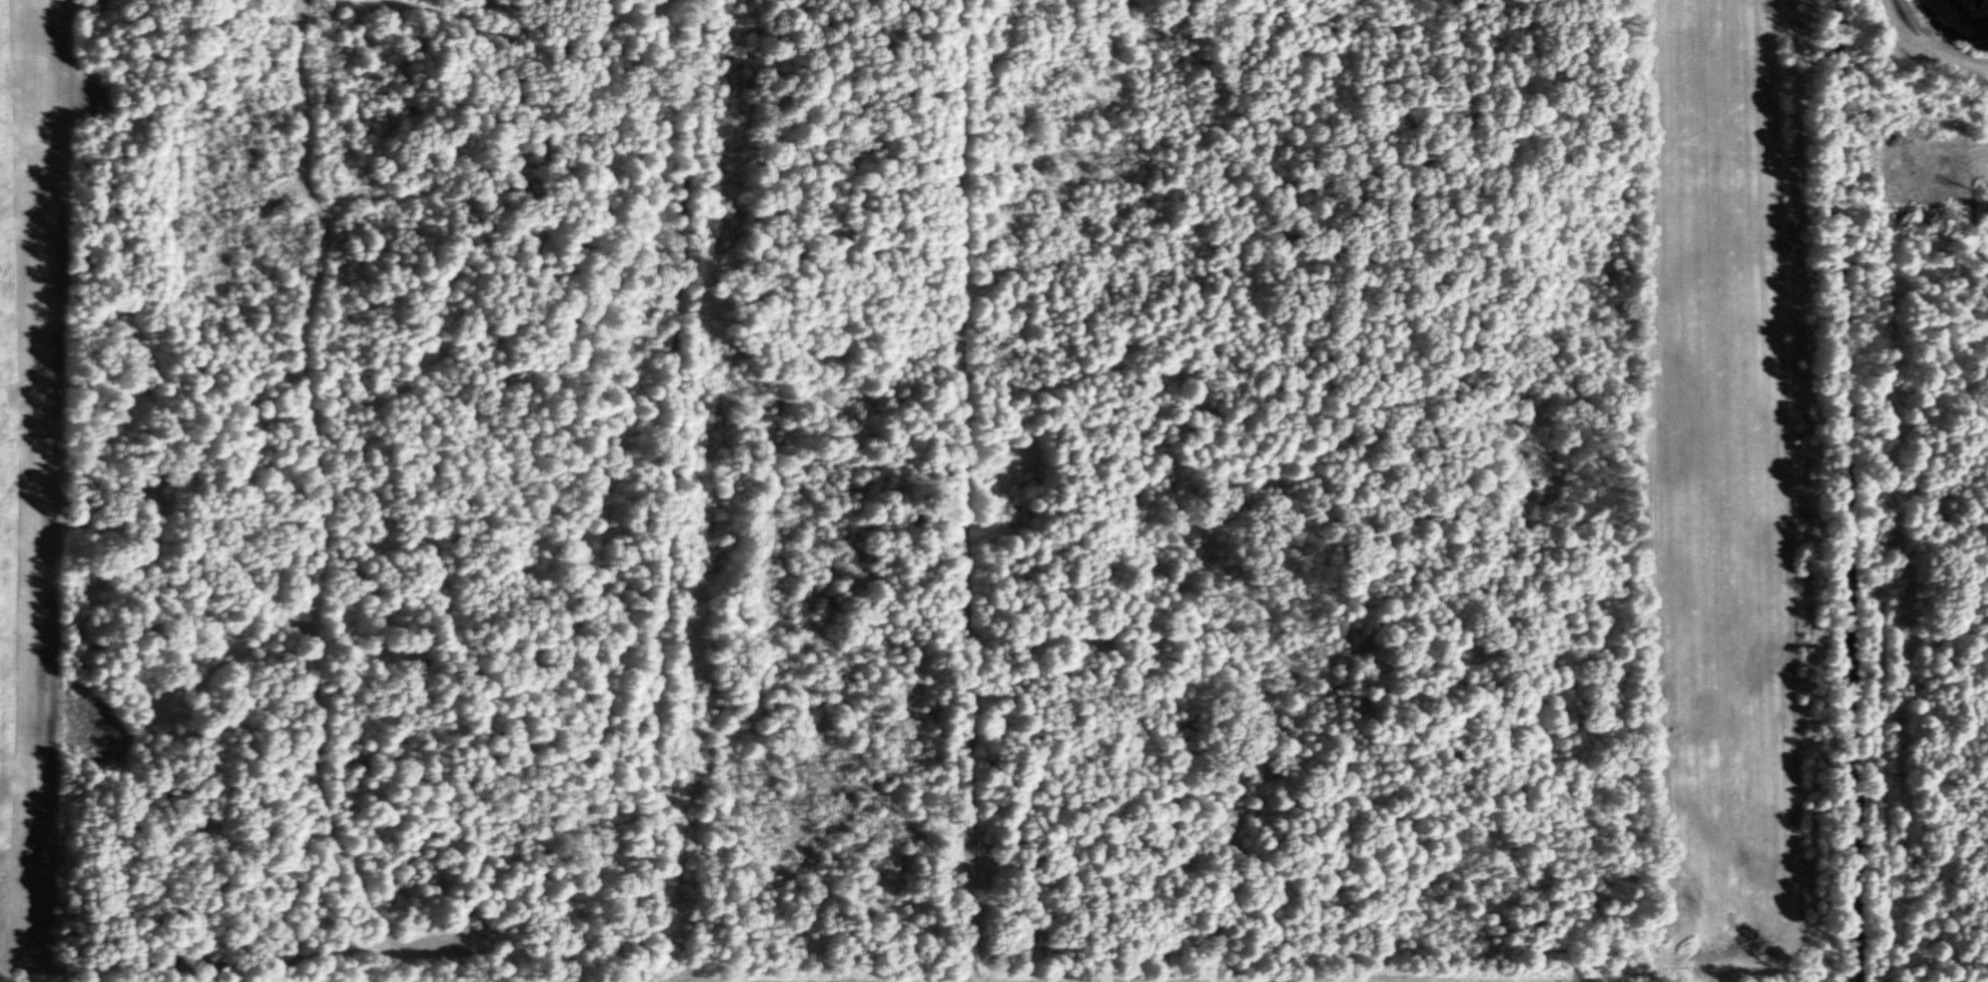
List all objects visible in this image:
airport runway: (1730, 472)

